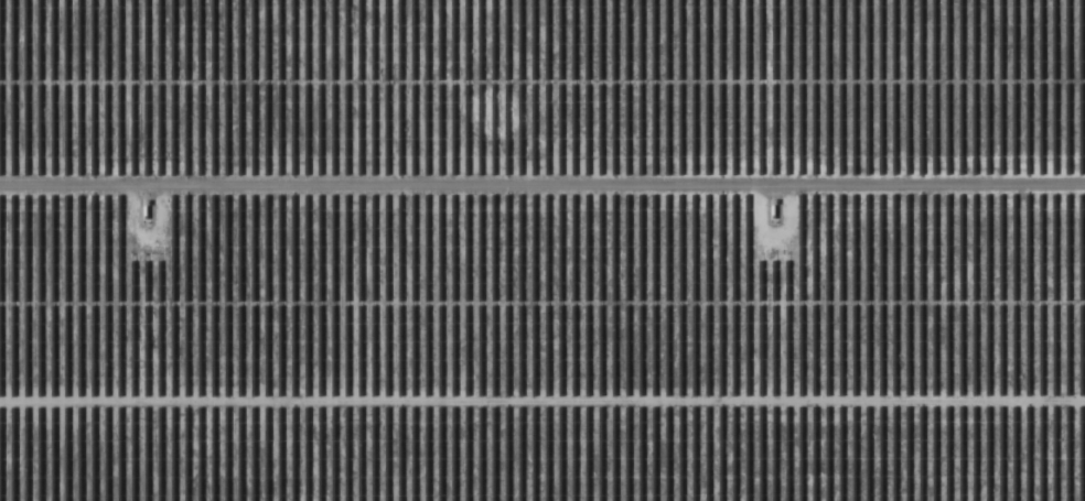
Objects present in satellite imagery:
solar farm: (542, 250)

